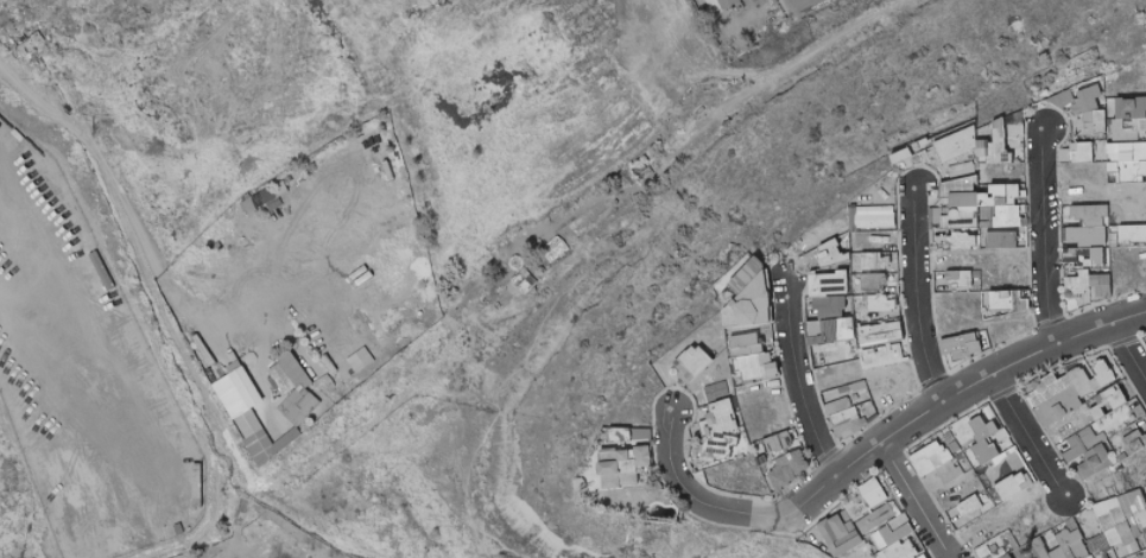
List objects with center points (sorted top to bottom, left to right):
crop: (802, 4)

